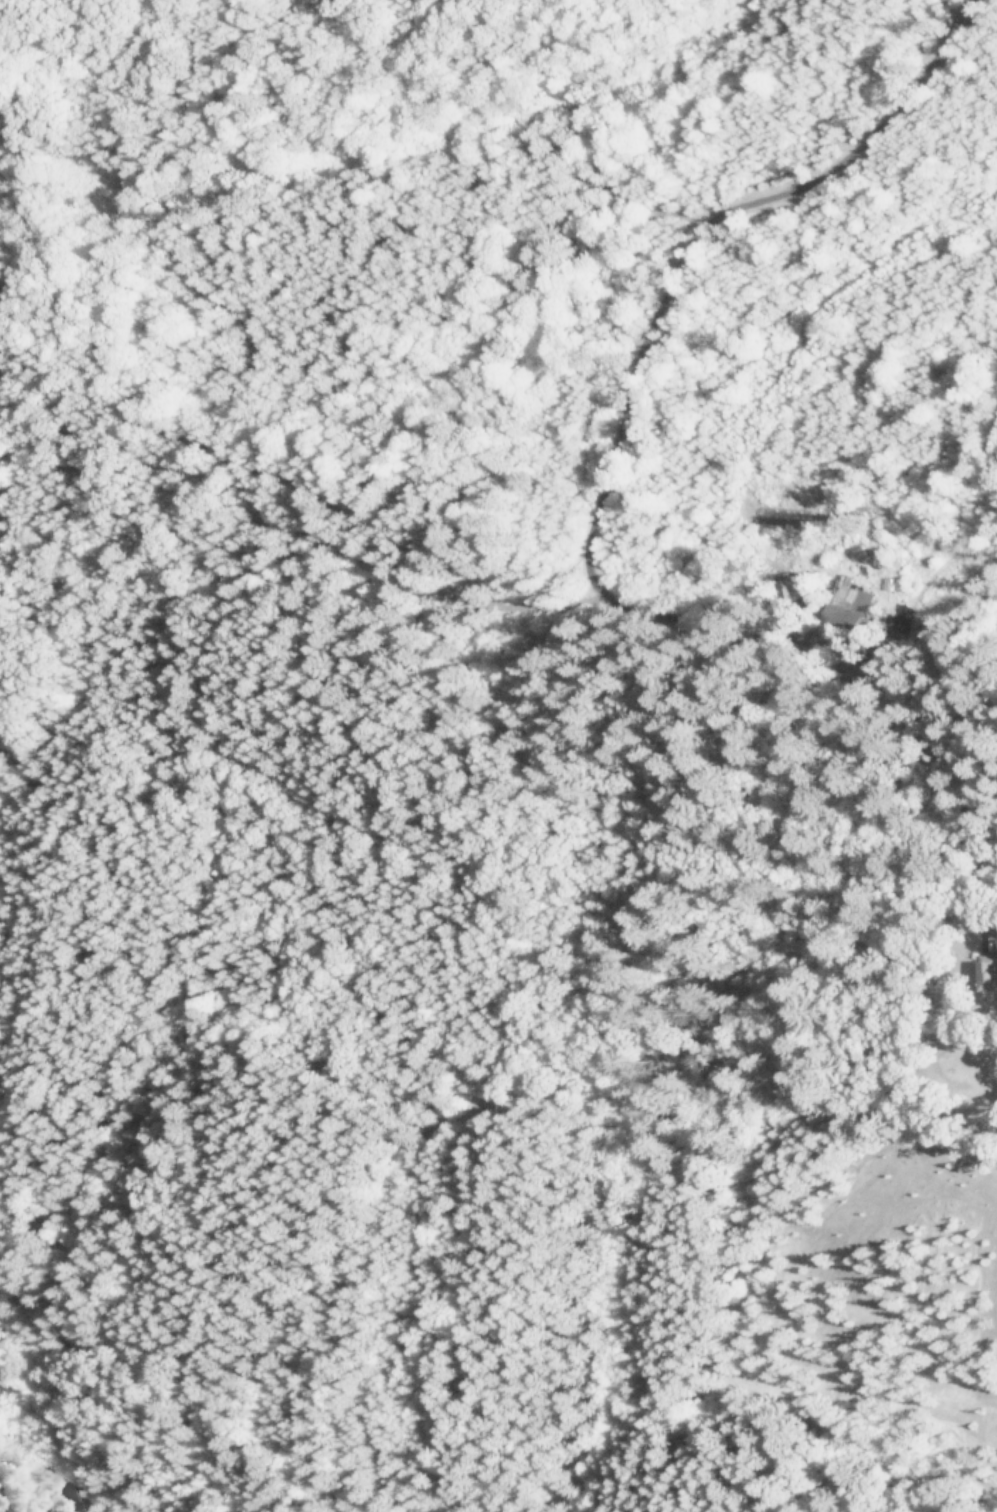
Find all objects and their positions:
road: (619, 439)
building: (854, 594)
building: (848, 617)
building: (991, 974)

